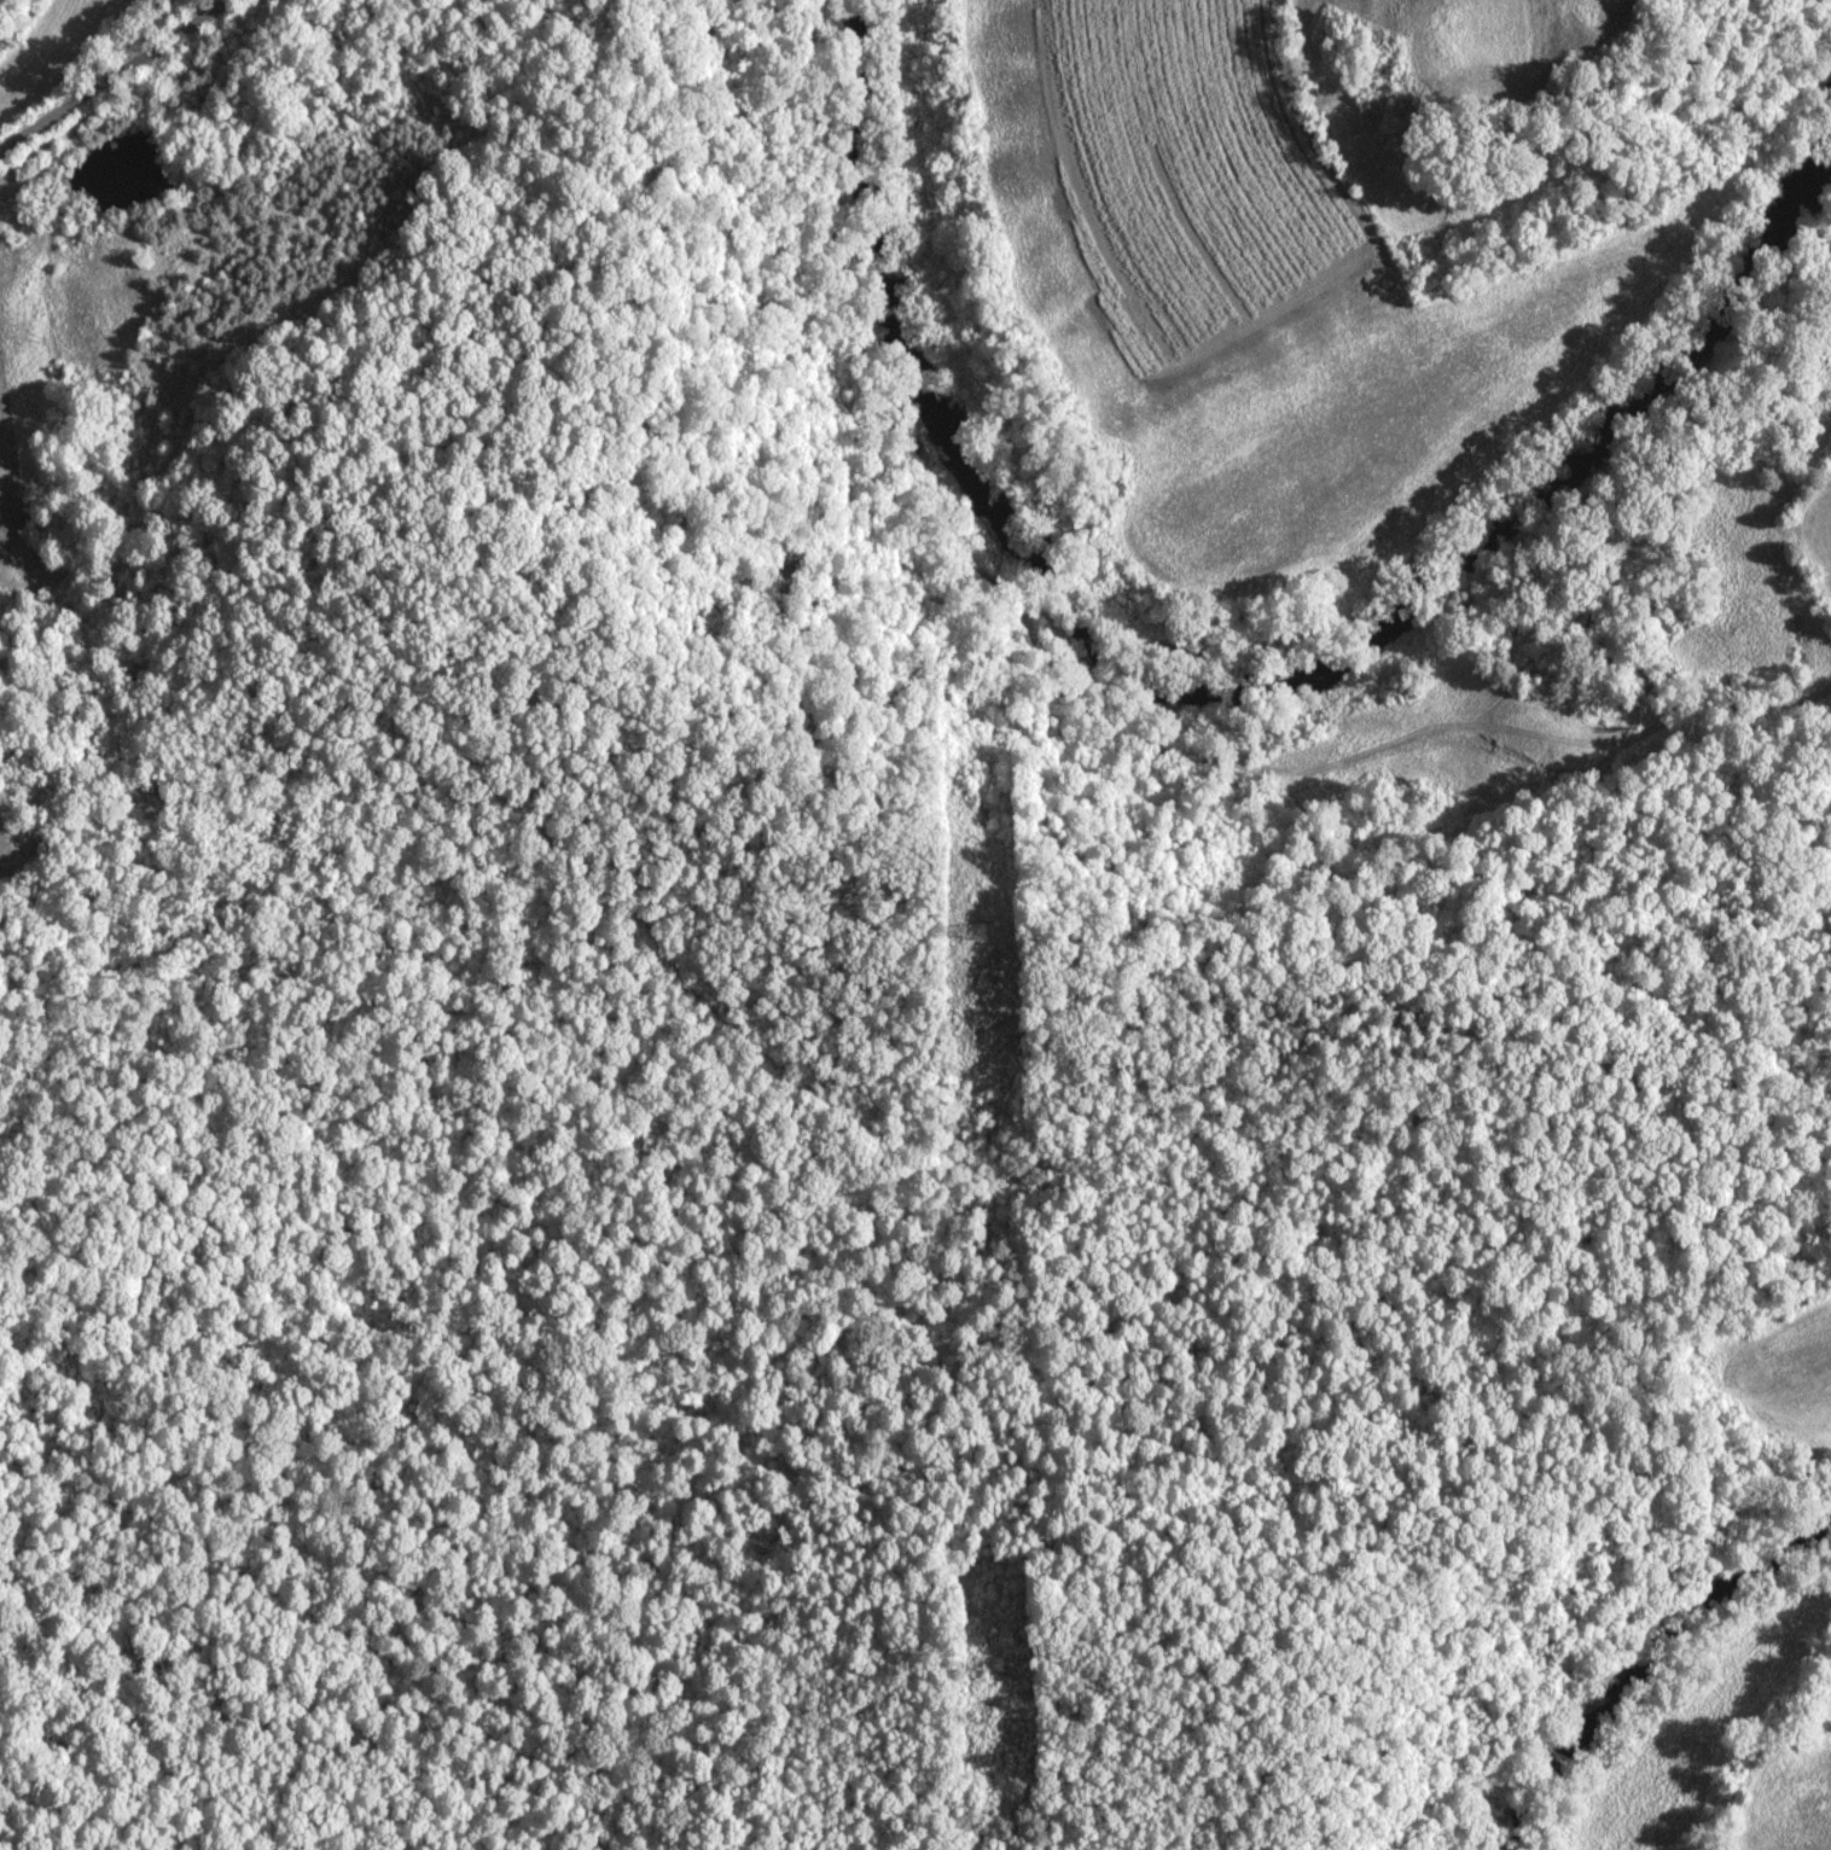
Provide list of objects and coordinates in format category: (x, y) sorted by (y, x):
road: (109, 75)
power tower: (982, 929)
power tower: (994, 1665)

